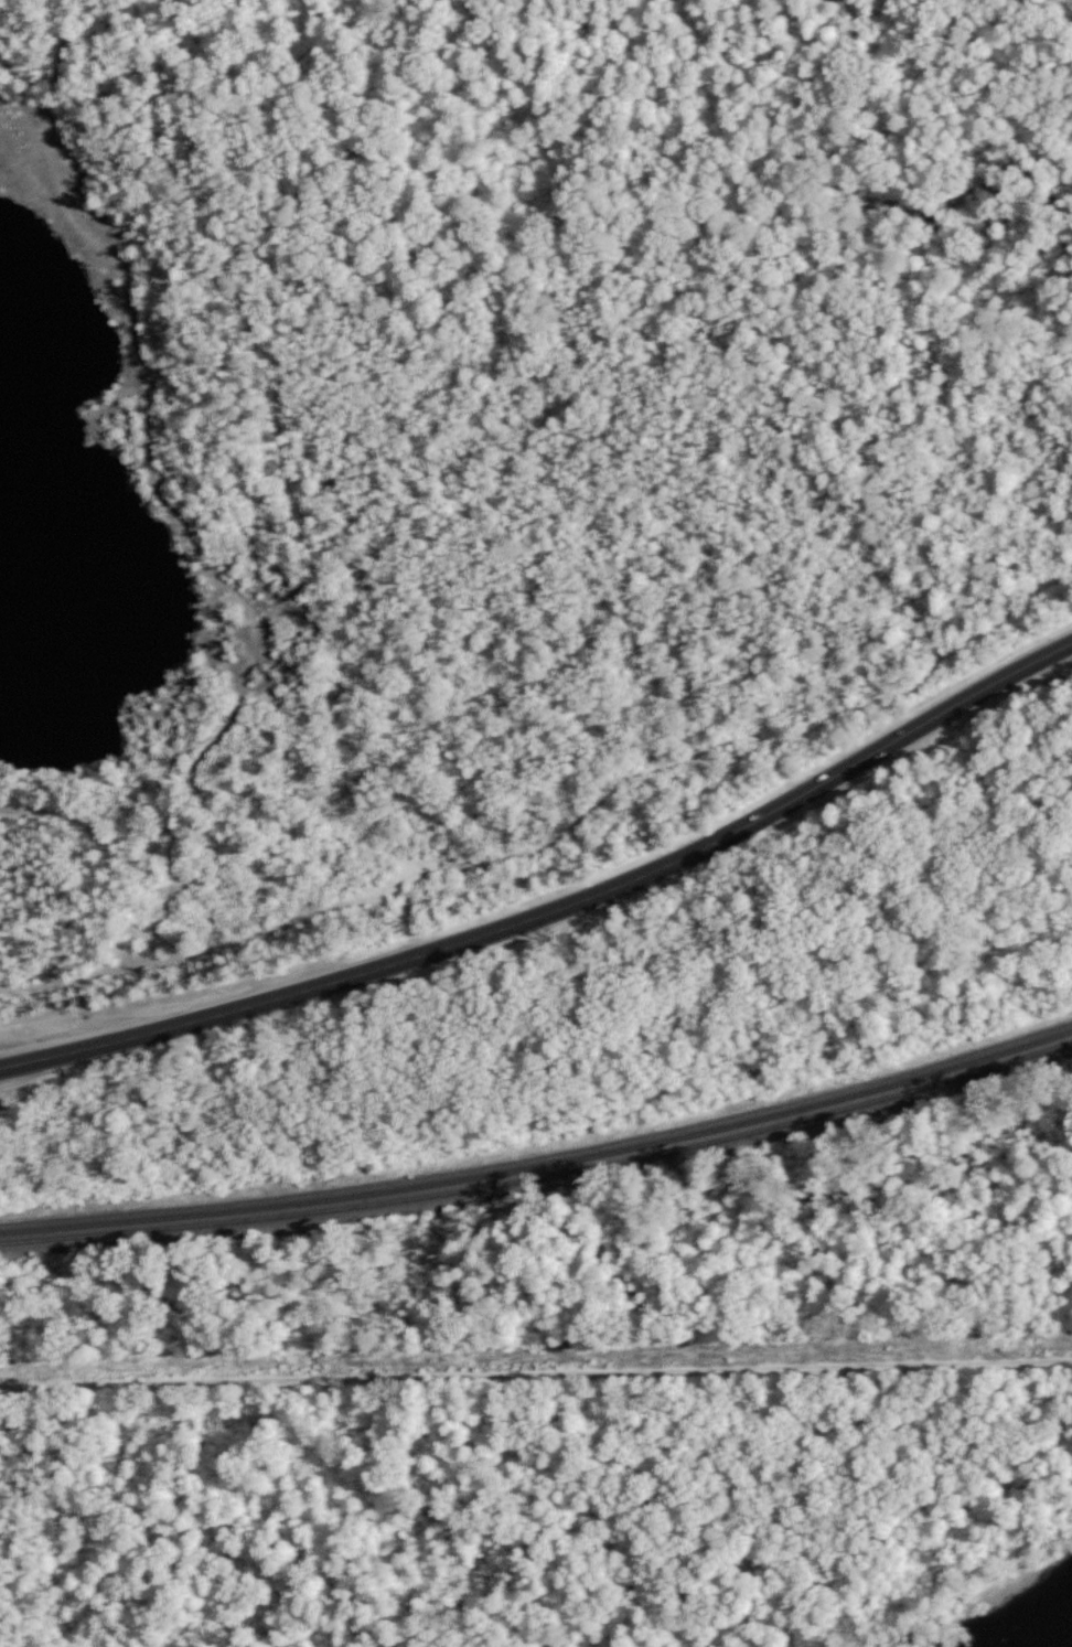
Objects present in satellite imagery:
road: (318, 824)
road: (560, 913)
railway: (543, 1162)
railway: (543, 1176)
road: (536, 1366)

